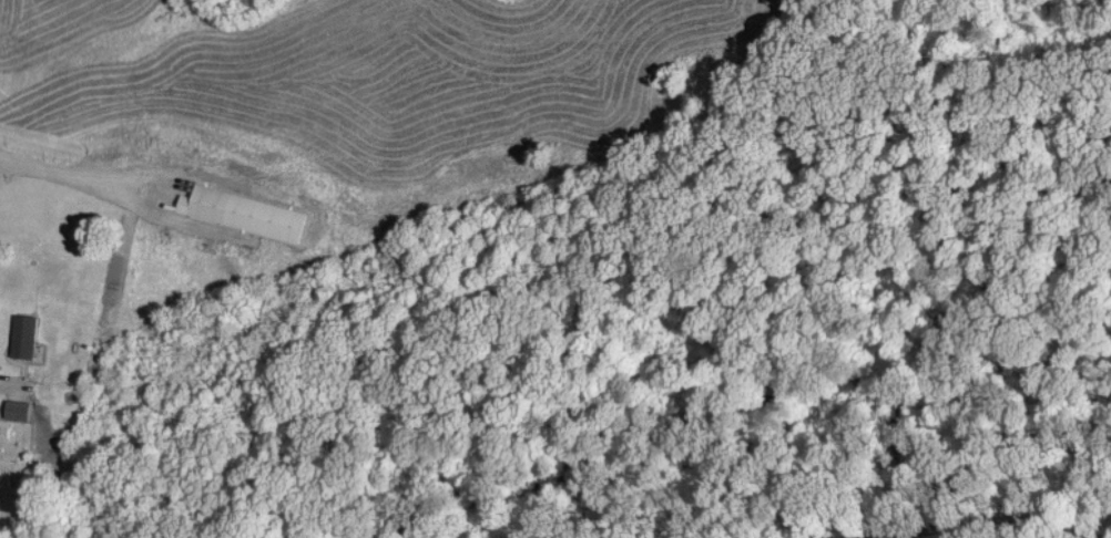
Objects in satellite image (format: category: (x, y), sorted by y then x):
building: (183, 196)
building: (20, 335)
building: (13, 408)

